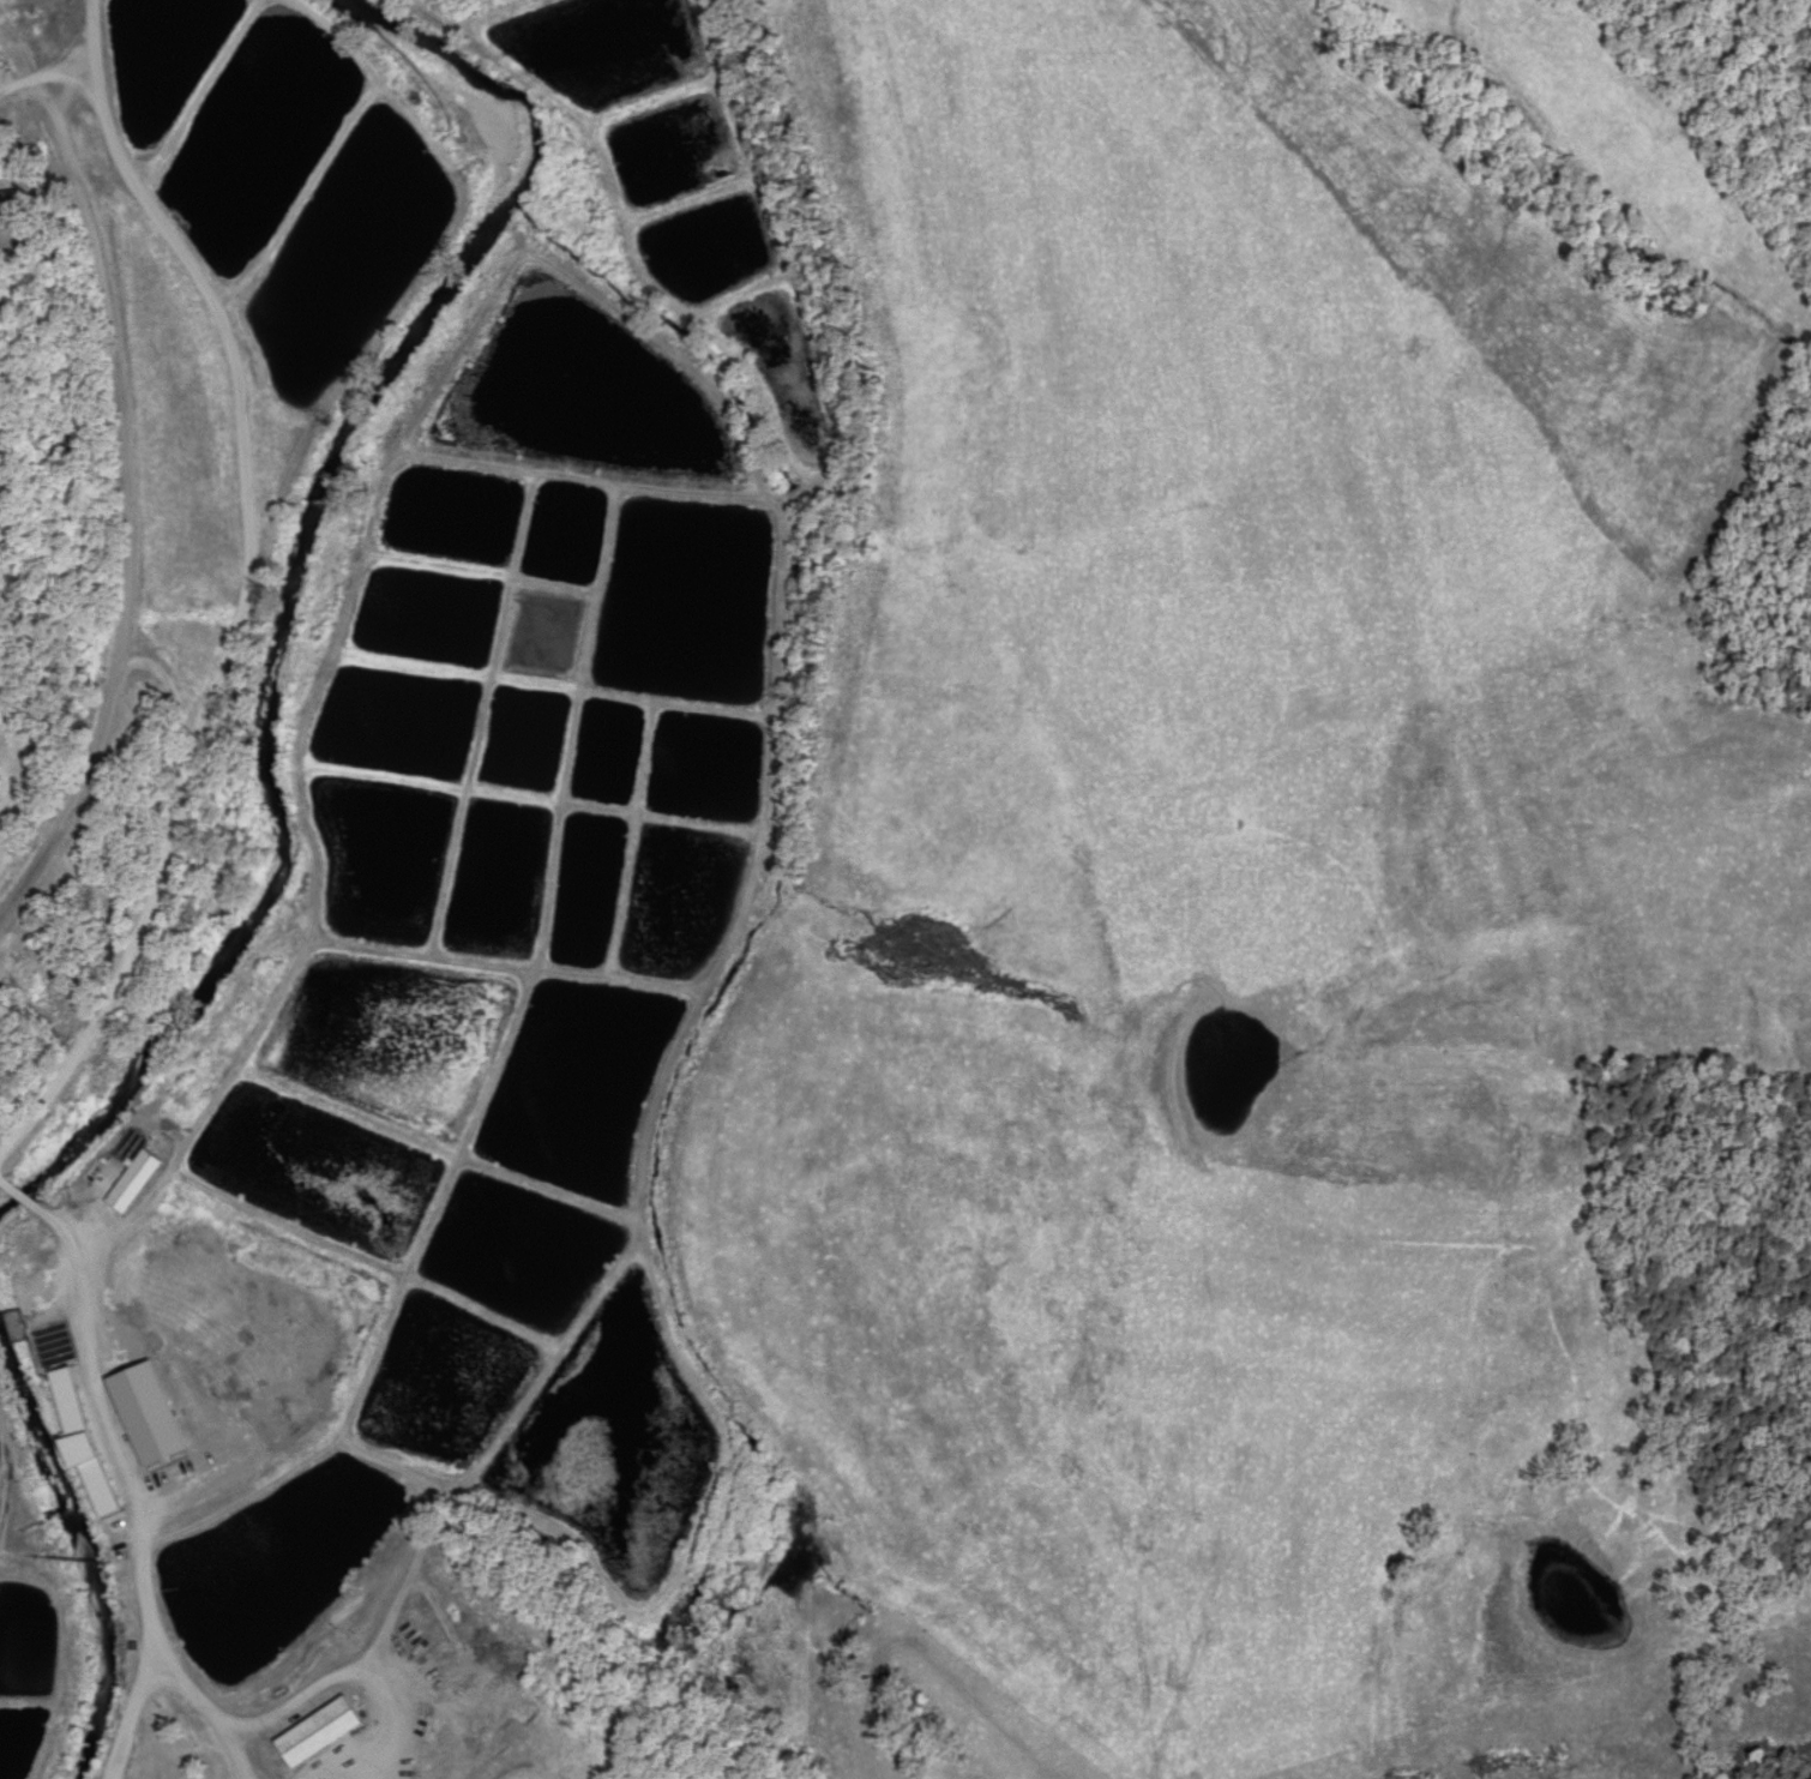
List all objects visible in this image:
road: (47, 71)
road: (231, 368)
road: (127, 504)
road: (151, 922)
building: (132, 1182)
building: (145, 1416)
building: (79, 1444)
road: (108, 1466)
road: (355, 1676)
road: (207, 1718)
building: (318, 1733)
road: (385, 1755)
road: (528, 1773)

